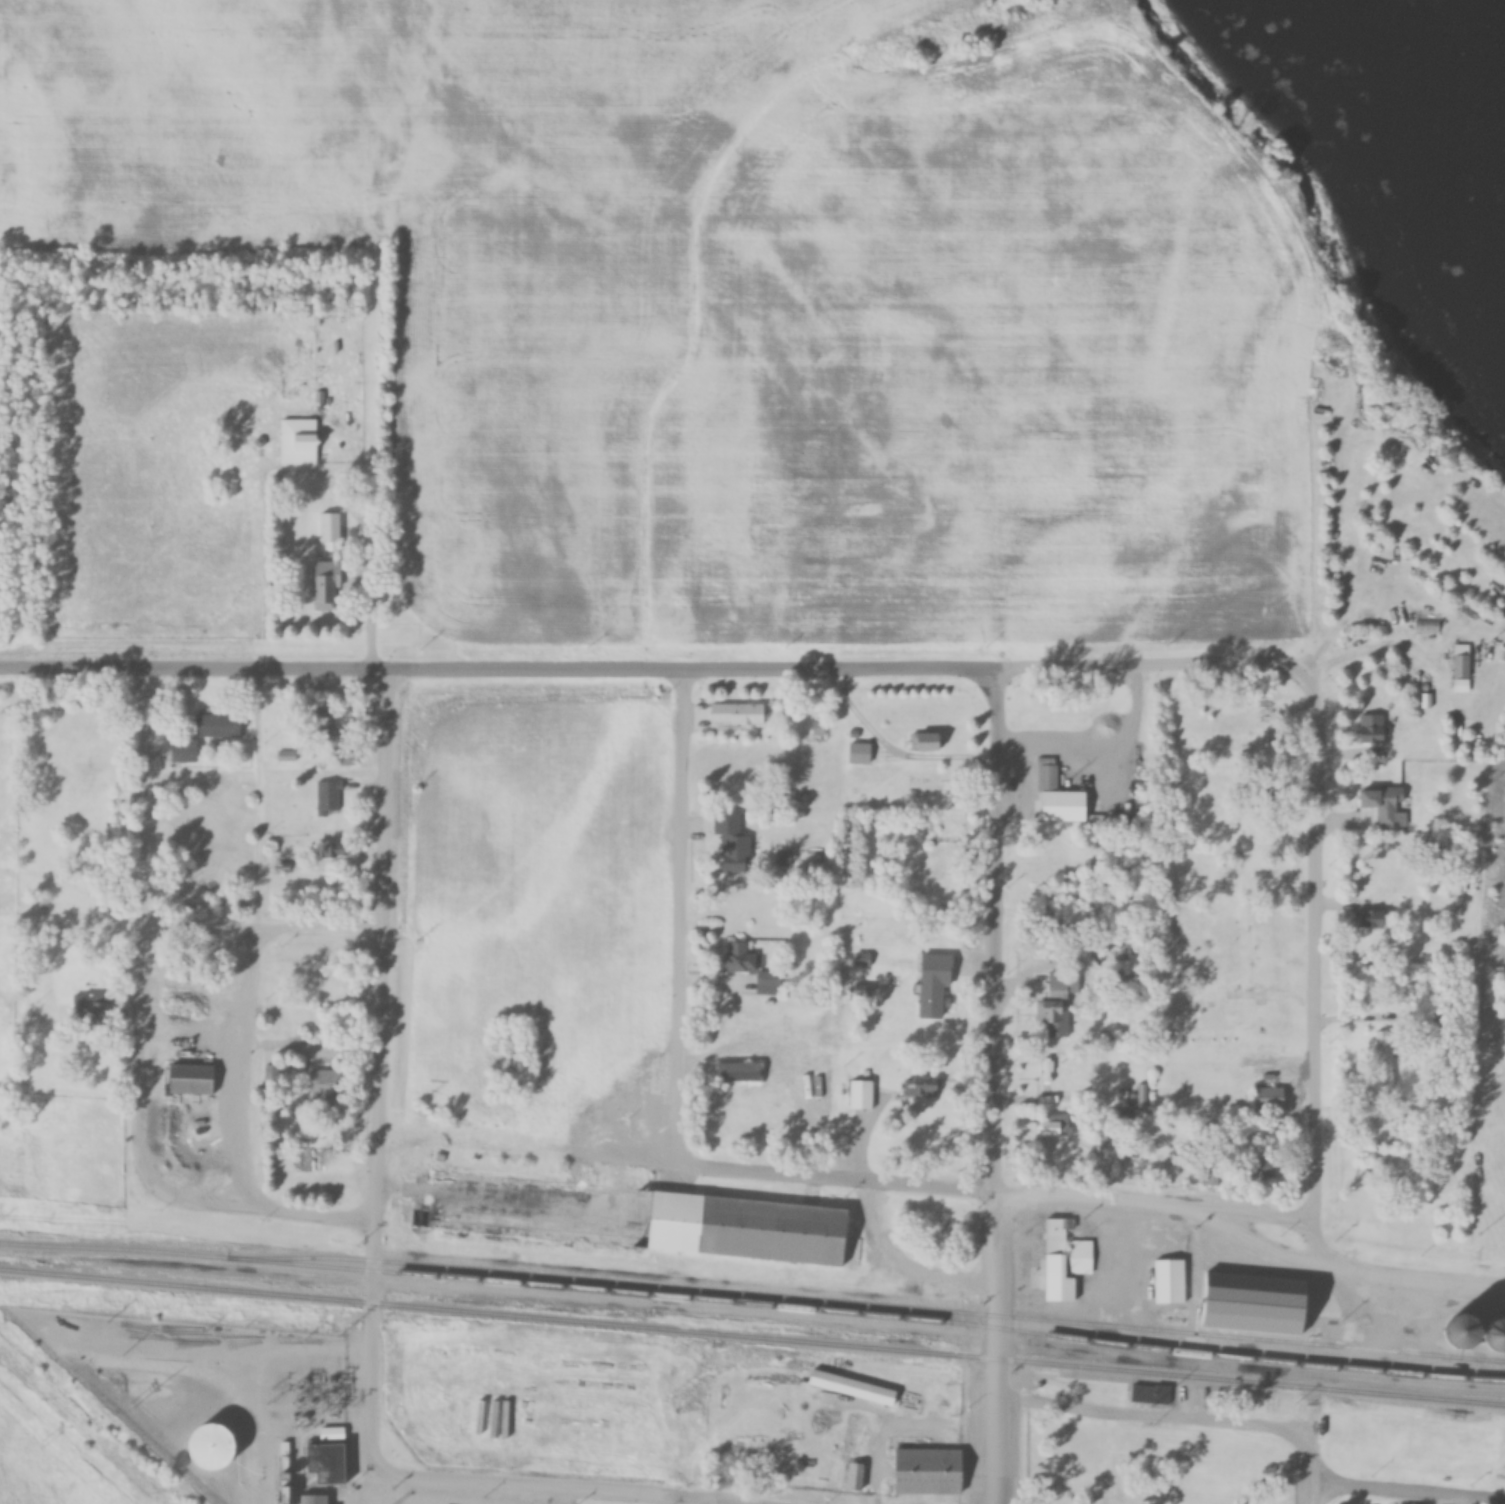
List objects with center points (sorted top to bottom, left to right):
building: (1374, 423)
building: (300, 441)
building: (333, 528)
building: (329, 590)
road: (367, 609)
building: (1464, 661)
road: (658, 669)
building: (737, 714)
building: (219, 725)
building: (1374, 729)
building: (331, 734)
building: (927, 742)
building: (186, 749)
building: (860, 753)
building: (329, 798)
building: (1062, 798)
building: (205, 802)
building: (1388, 806)
building: (1252, 839)
building: (734, 843)
building: (338, 851)
building: (929, 867)
building: (246, 888)
road: (688, 918)
building: (1376, 920)
road: (145, 930)
road: (209, 936)
road: (258, 939)
building: (742, 958)
building: (862, 959)
building: (770, 983)
building: (1405, 994)
road: (1321, 997)
building: (933, 1001)
building: (90, 1008)
building: (1048, 1015)
building: (1383, 1045)
road: (385, 1069)
building: (740, 1072)
building: (270, 1073)
building: (325, 1085)
building: (922, 1086)
road: (1001, 1088)
building: (863, 1096)
building: (190, 1097)
building: (1270, 1098)
building: (1055, 1125)
building: (1109, 1143)
building: (1264, 1170)
road: (841, 1183)
road: (260, 1209)
road: (1159, 1209)
building: (627, 1215)
building: (948, 1227)
building: (1065, 1262)
road: (1412, 1280)
building: (1171, 1282)
railway: (871, 1305)
railway: (753, 1306)
railway: (752, 1338)
building: (854, 1388)
building: (1150, 1395)
building: (524, 1413)
road: (1153, 1414)
building: (852, 1451)
building: (333, 1462)
road: (1310, 1467)
building: (929, 1471)
road: (548, 1484)
road: (1407, 1493)
building: (321, 1499)
road: (680, 1501)
road: (1460, 1501)

